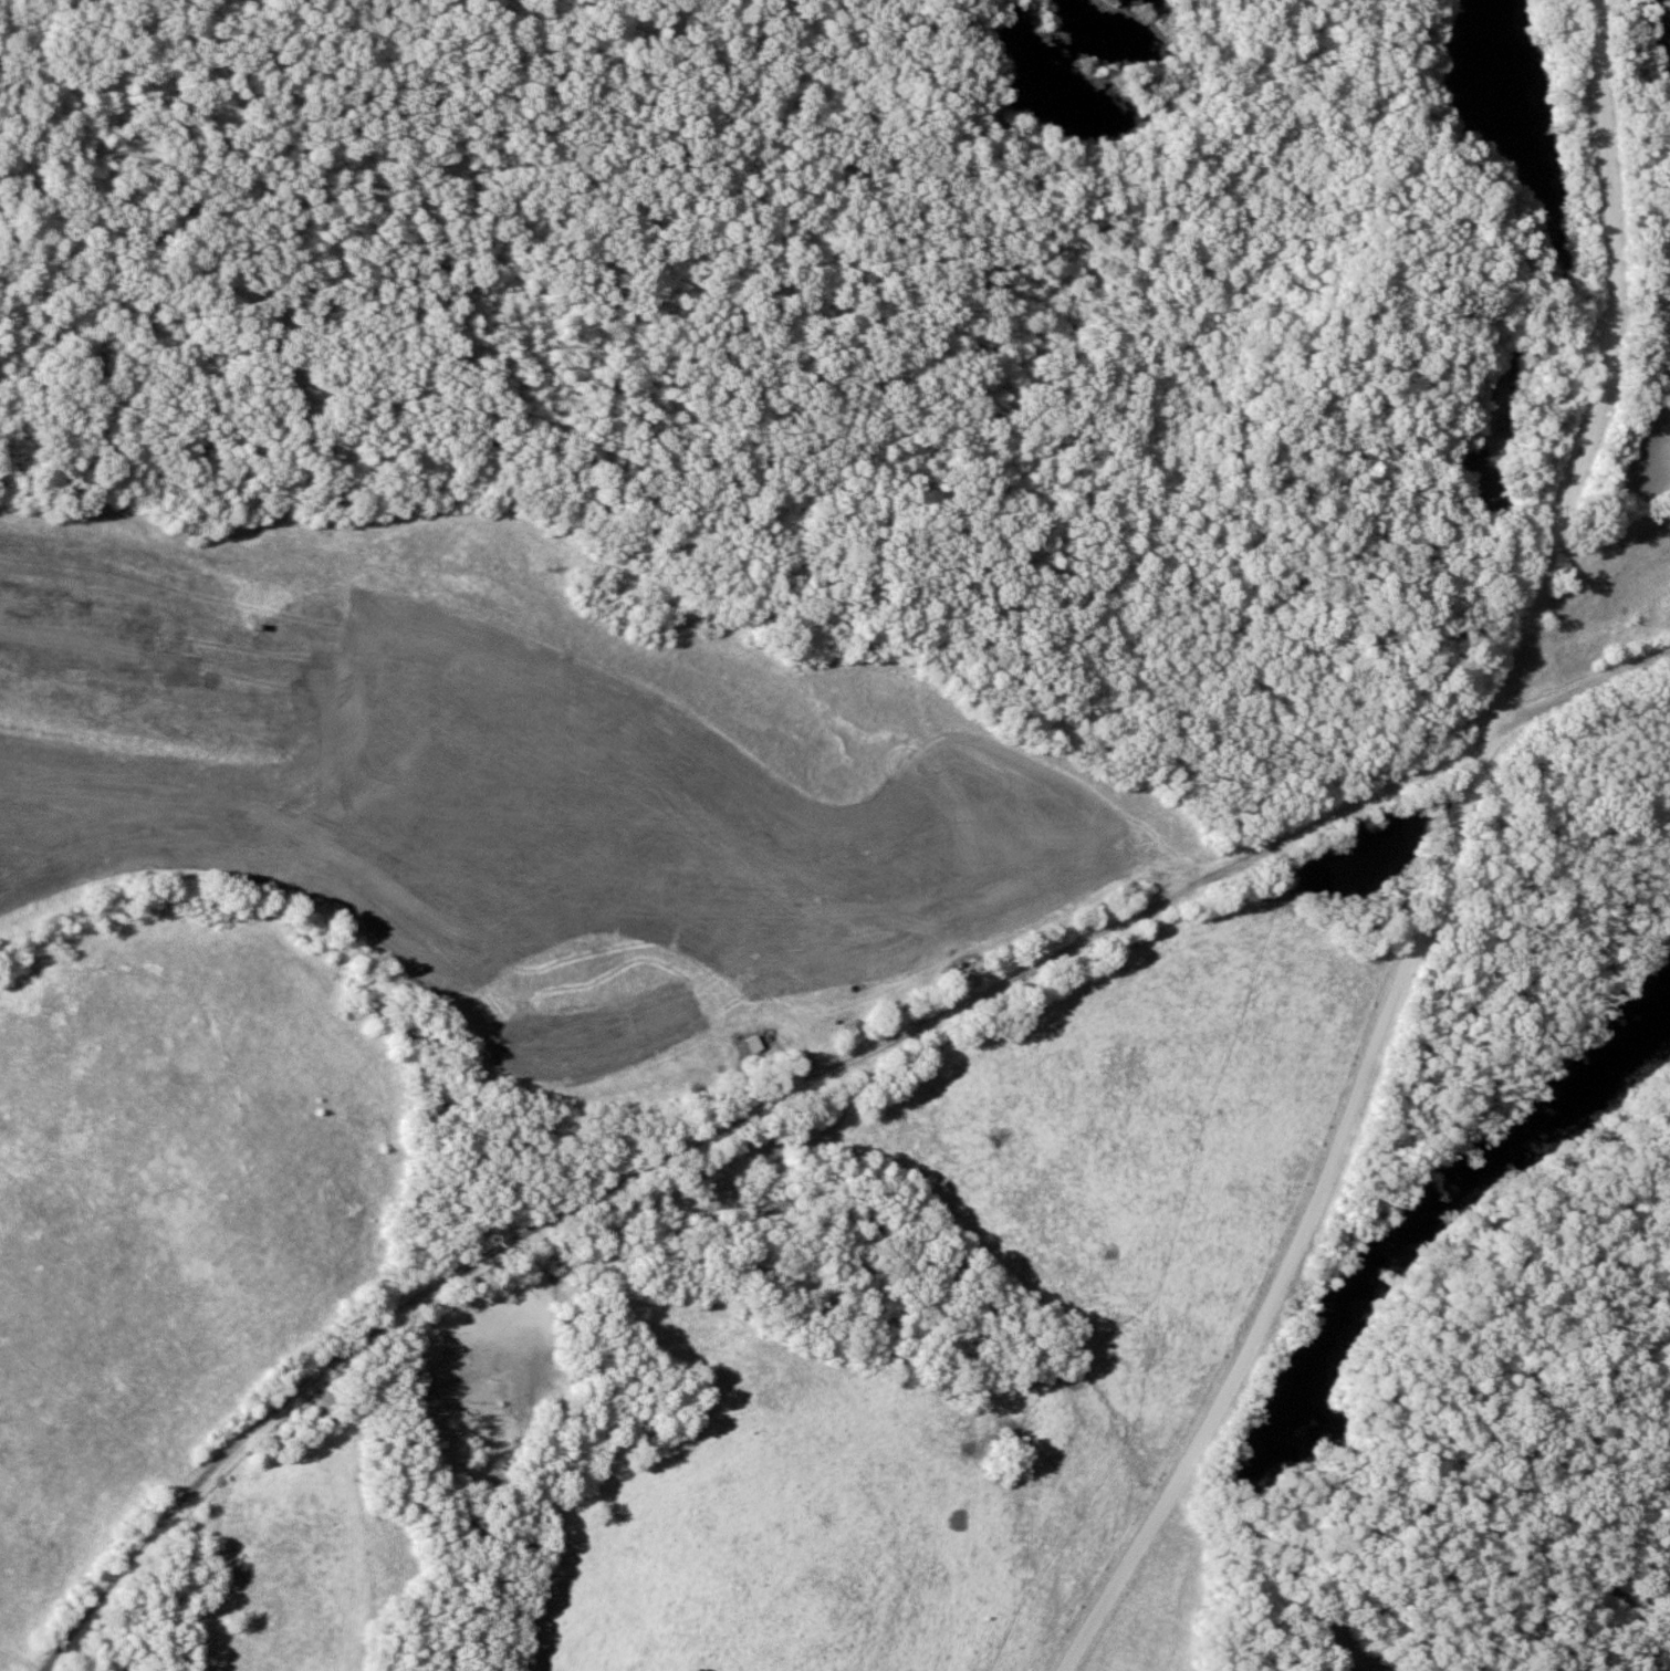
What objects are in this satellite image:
road: (1578, 700)
road: (1439, 865)

